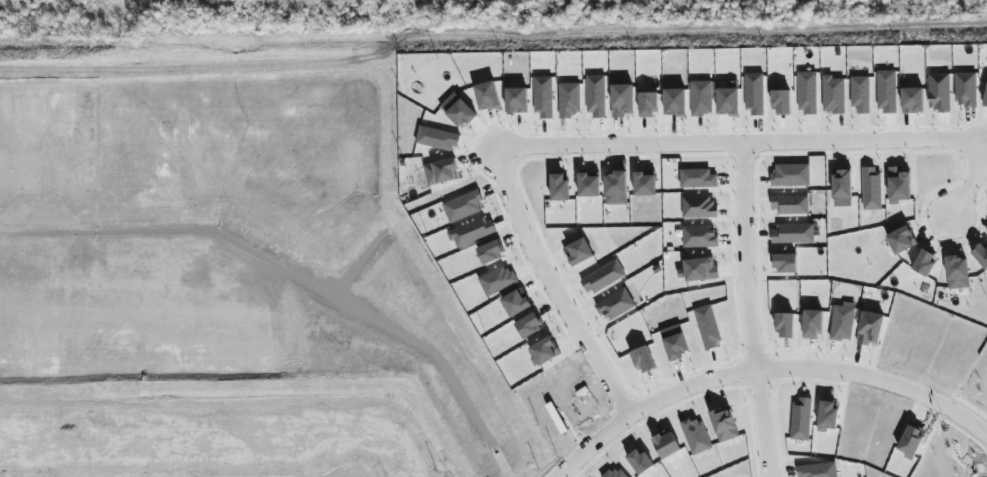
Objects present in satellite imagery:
building: (966, 88)
building: (886, 90)
building: (939, 91)
building: (807, 92)
building: (755, 93)
building: (861, 93)
building: (833, 94)
building: (487, 95)
building: (596, 96)
building: (543, 97)
building: (517, 99)
building: (569, 99)
building: (913, 99)
building: (985, 99)
building: (728, 100)
building: (675, 101)
building: (782, 101)
building: (648, 104)
building: (458, 110)
building: (438, 138)
building: (440, 171)
building: (791, 174)
road: (970, 179)
building: (616, 182)
building: (842, 182)
building: (644, 184)
building: (899, 184)
building: (588, 185)
building: (559, 186)
building: (872, 187)
building: (790, 204)
building: (464, 205)
building: (699, 206)
building: (473, 231)
building: (793, 232)
building: (699, 236)
road: (526, 237)
building: (901, 239)
building: (490, 251)
building: (578, 251)
building: (981, 254)
building: (784, 262)
building: (924, 262)
building: (700, 269)
building: (957, 271)
building: (603, 277)
building: (497, 280)
building: (516, 303)
building: (614, 304)
road: (746, 311)
building: (528, 324)
building: (708, 326)
building: (675, 341)
building: (543, 351)
building: (643, 359)
building: (724, 424)
building: (696, 435)
building: (911, 440)
building: (667, 444)
road: (590, 446)
building: (818, 470)

